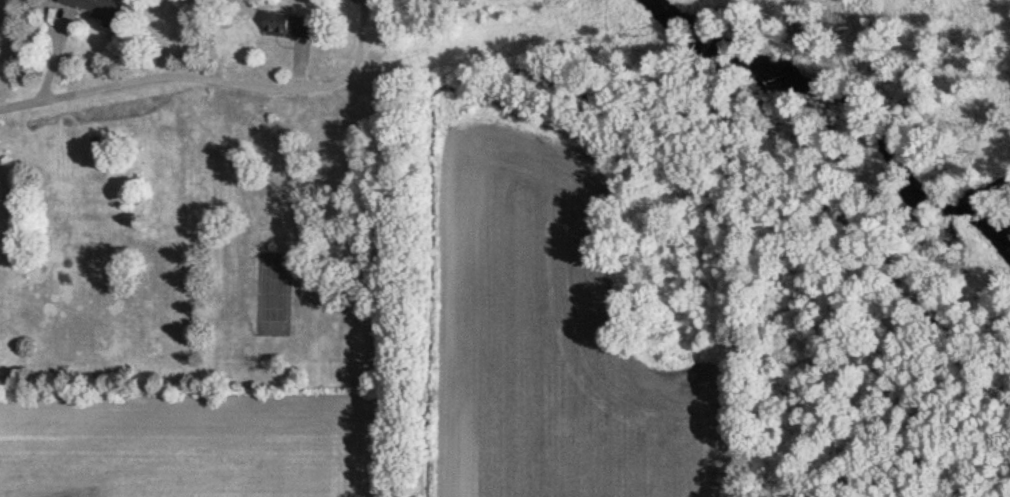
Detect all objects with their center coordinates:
building: (368, 0)
building: (101, 10)
building: (290, 25)
road: (205, 76)
road: (18, 109)

